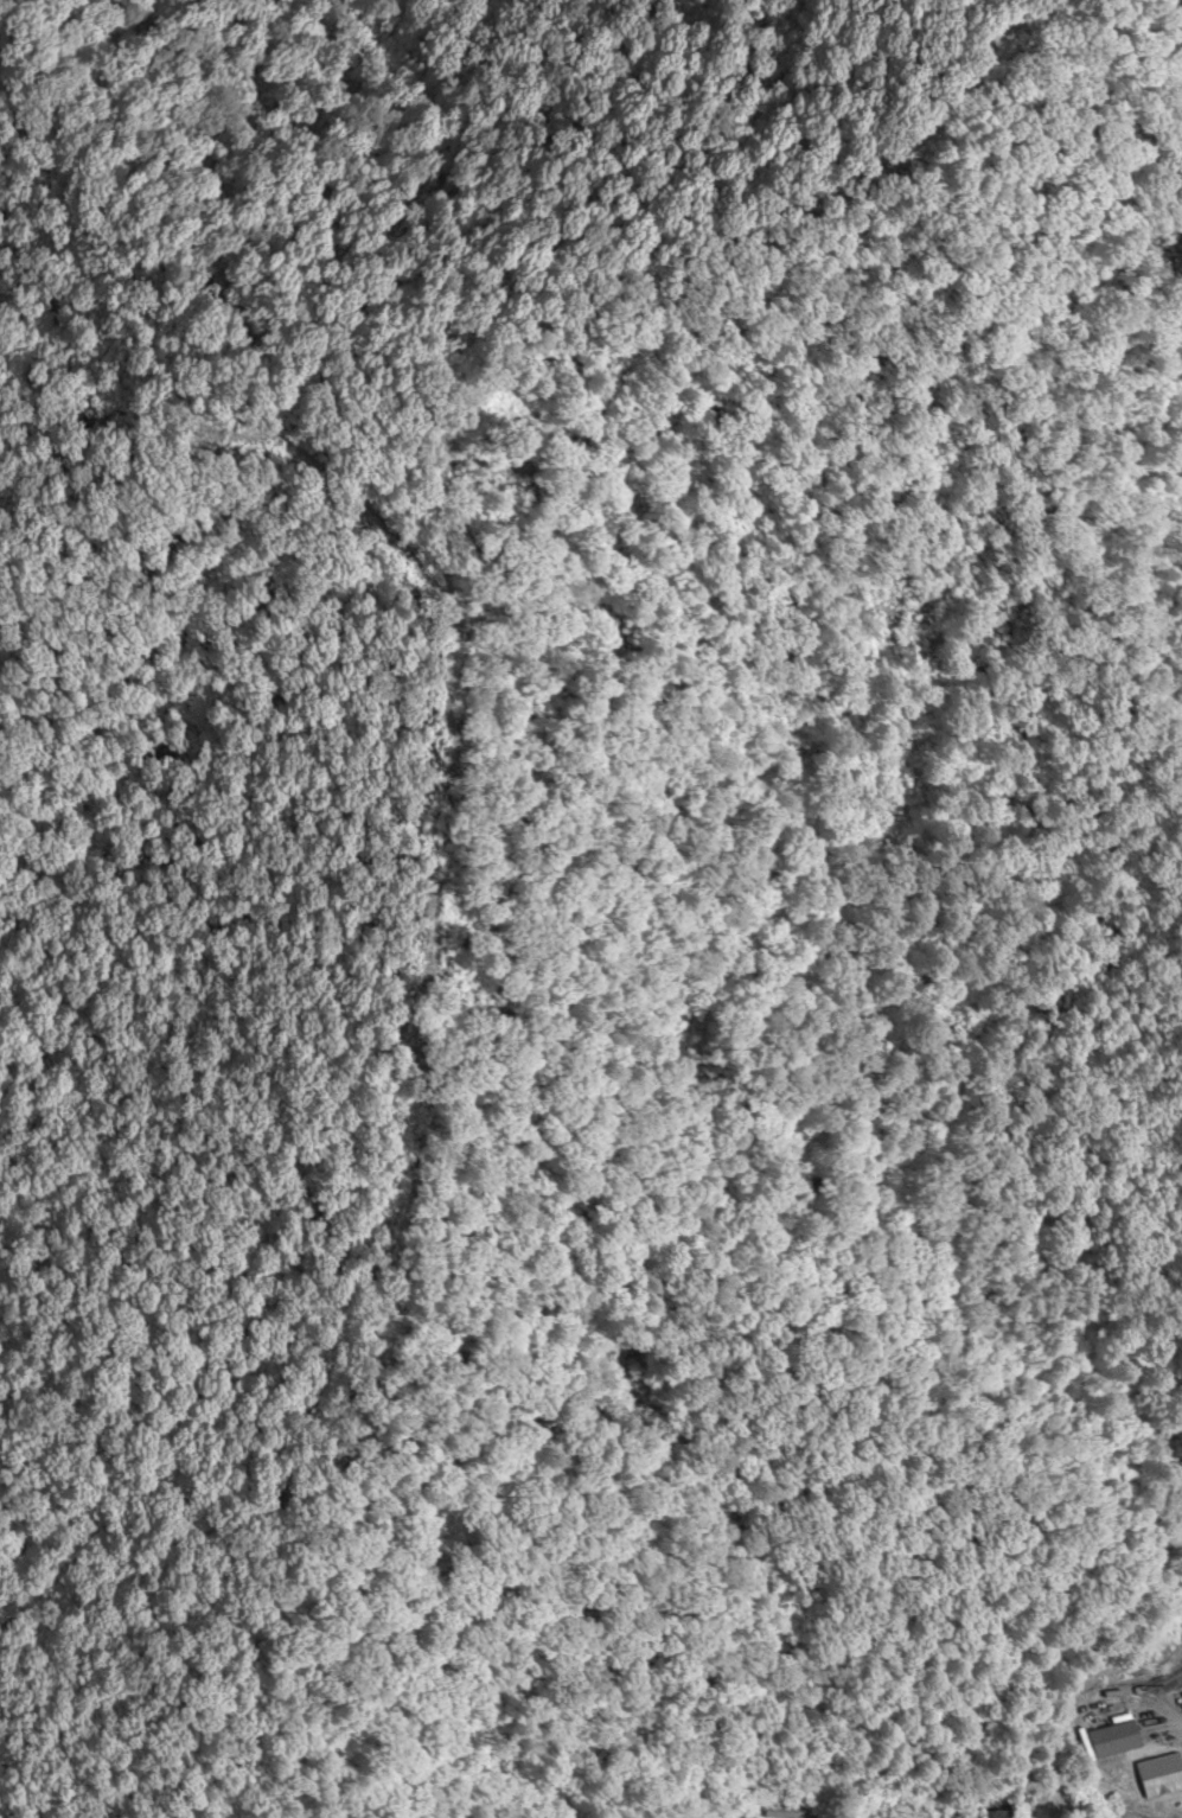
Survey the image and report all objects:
building: (1162, 1775)
building: (876, 1809)
building: (1003, 1810)
building: (786, 1812)

